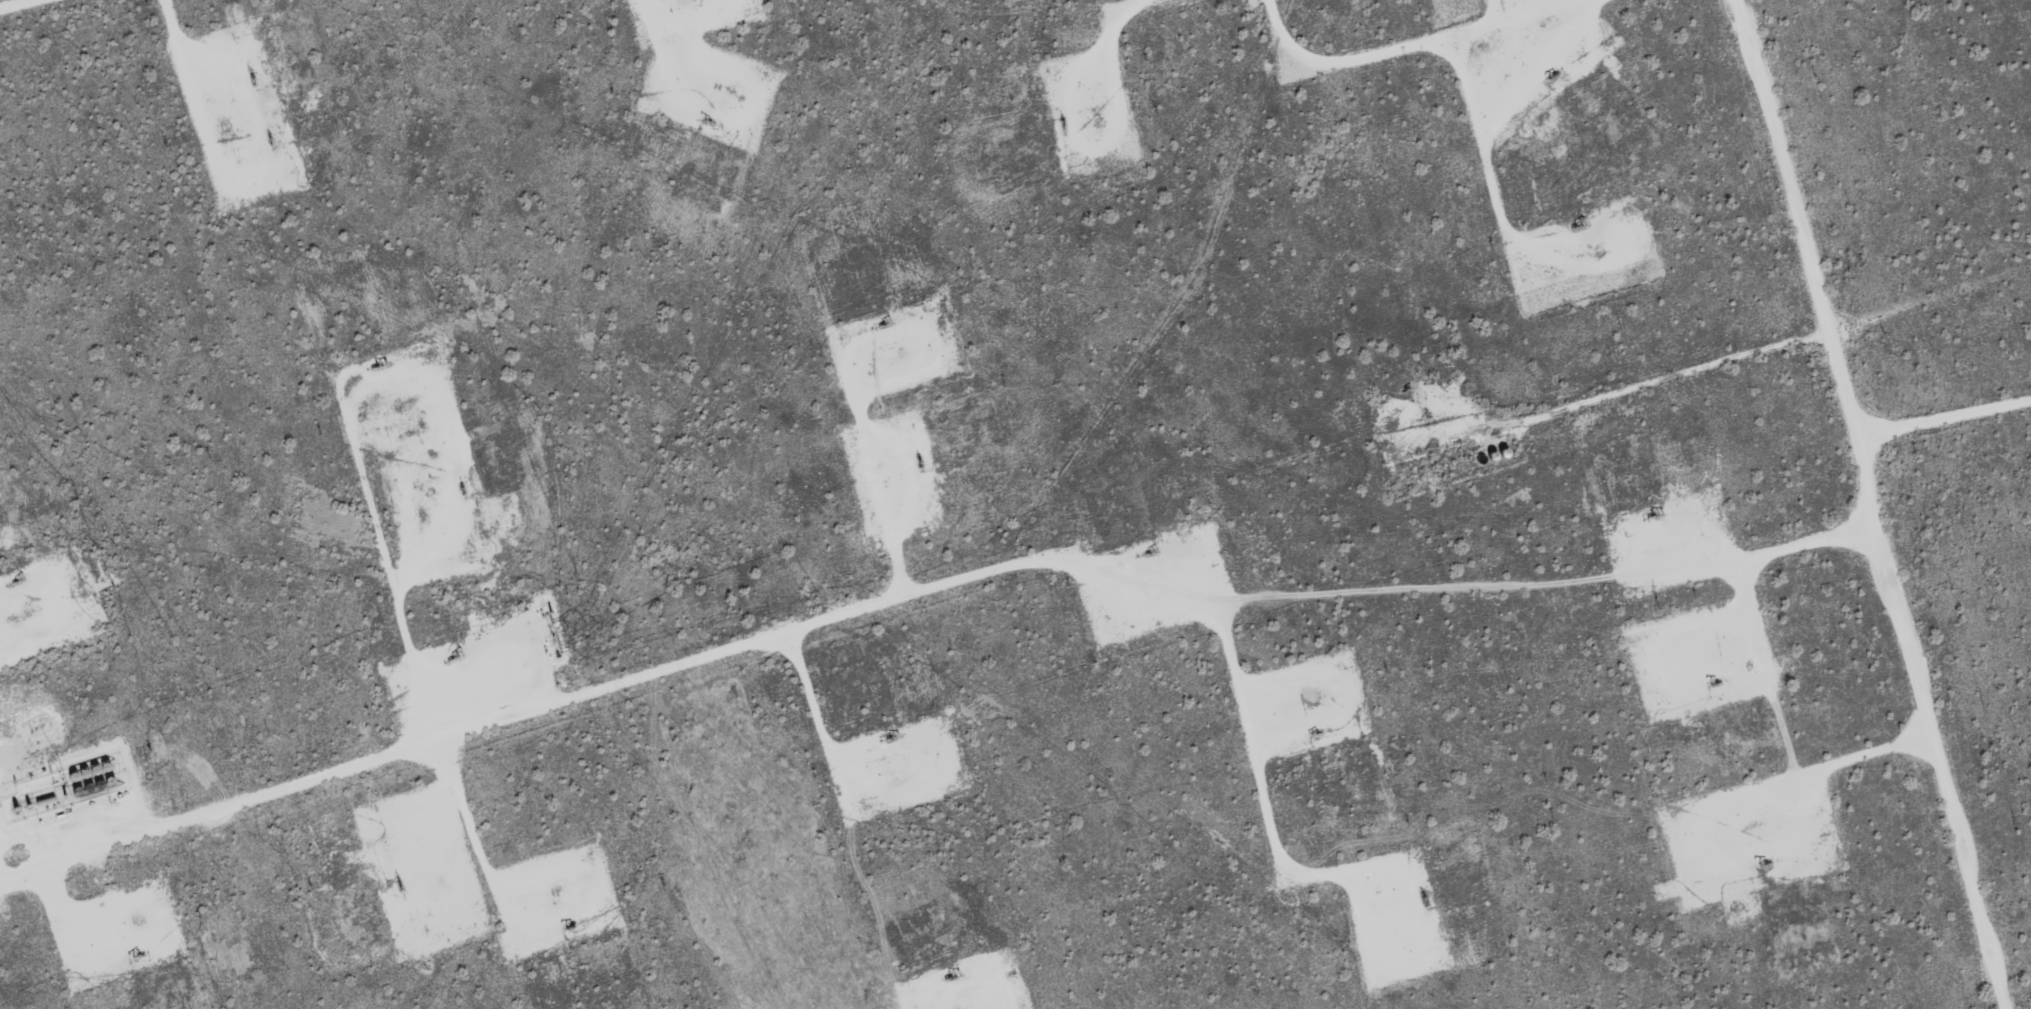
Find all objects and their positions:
road: (1892, 504)

